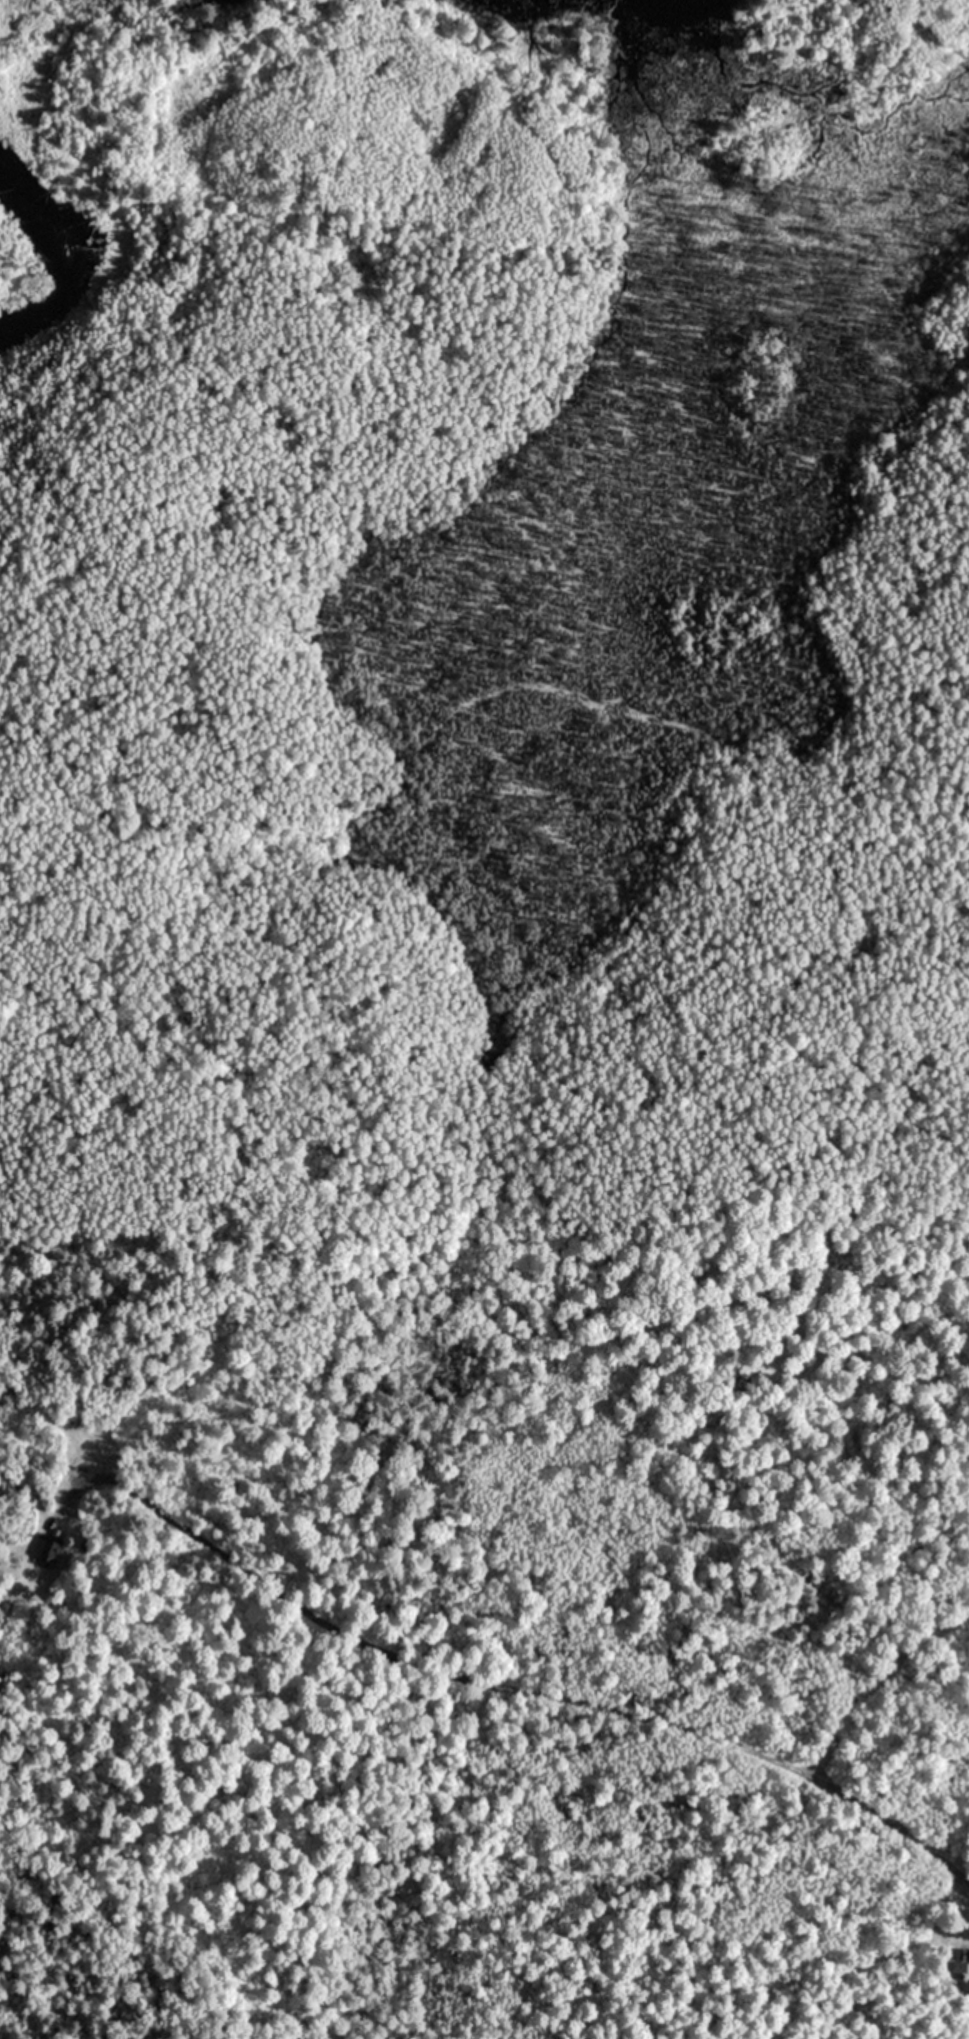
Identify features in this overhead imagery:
river: (667, 7)
river: (63, 252)
road: (749, 724)
road: (363, 1640)
road: (822, 1780)

